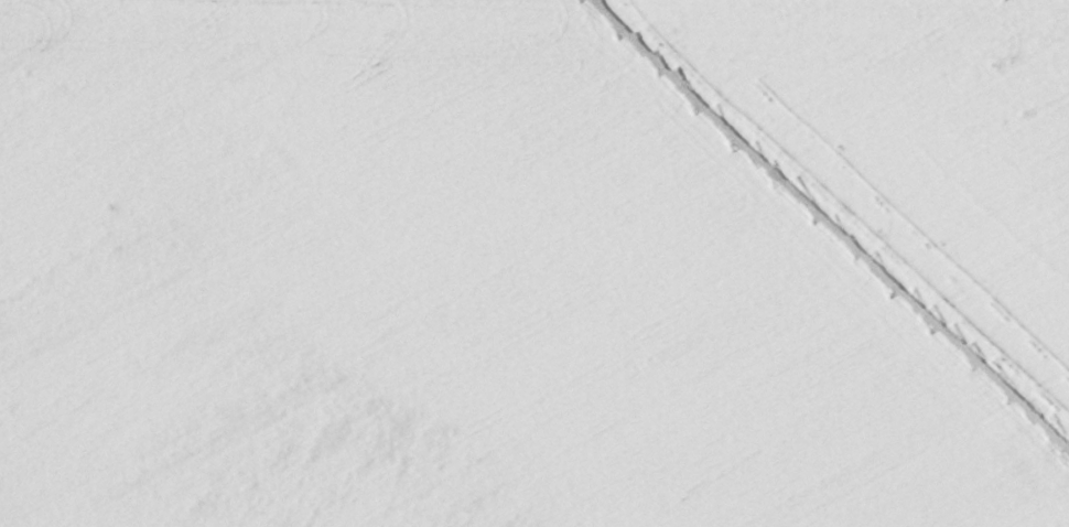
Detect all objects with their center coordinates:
road: (381, 260)

